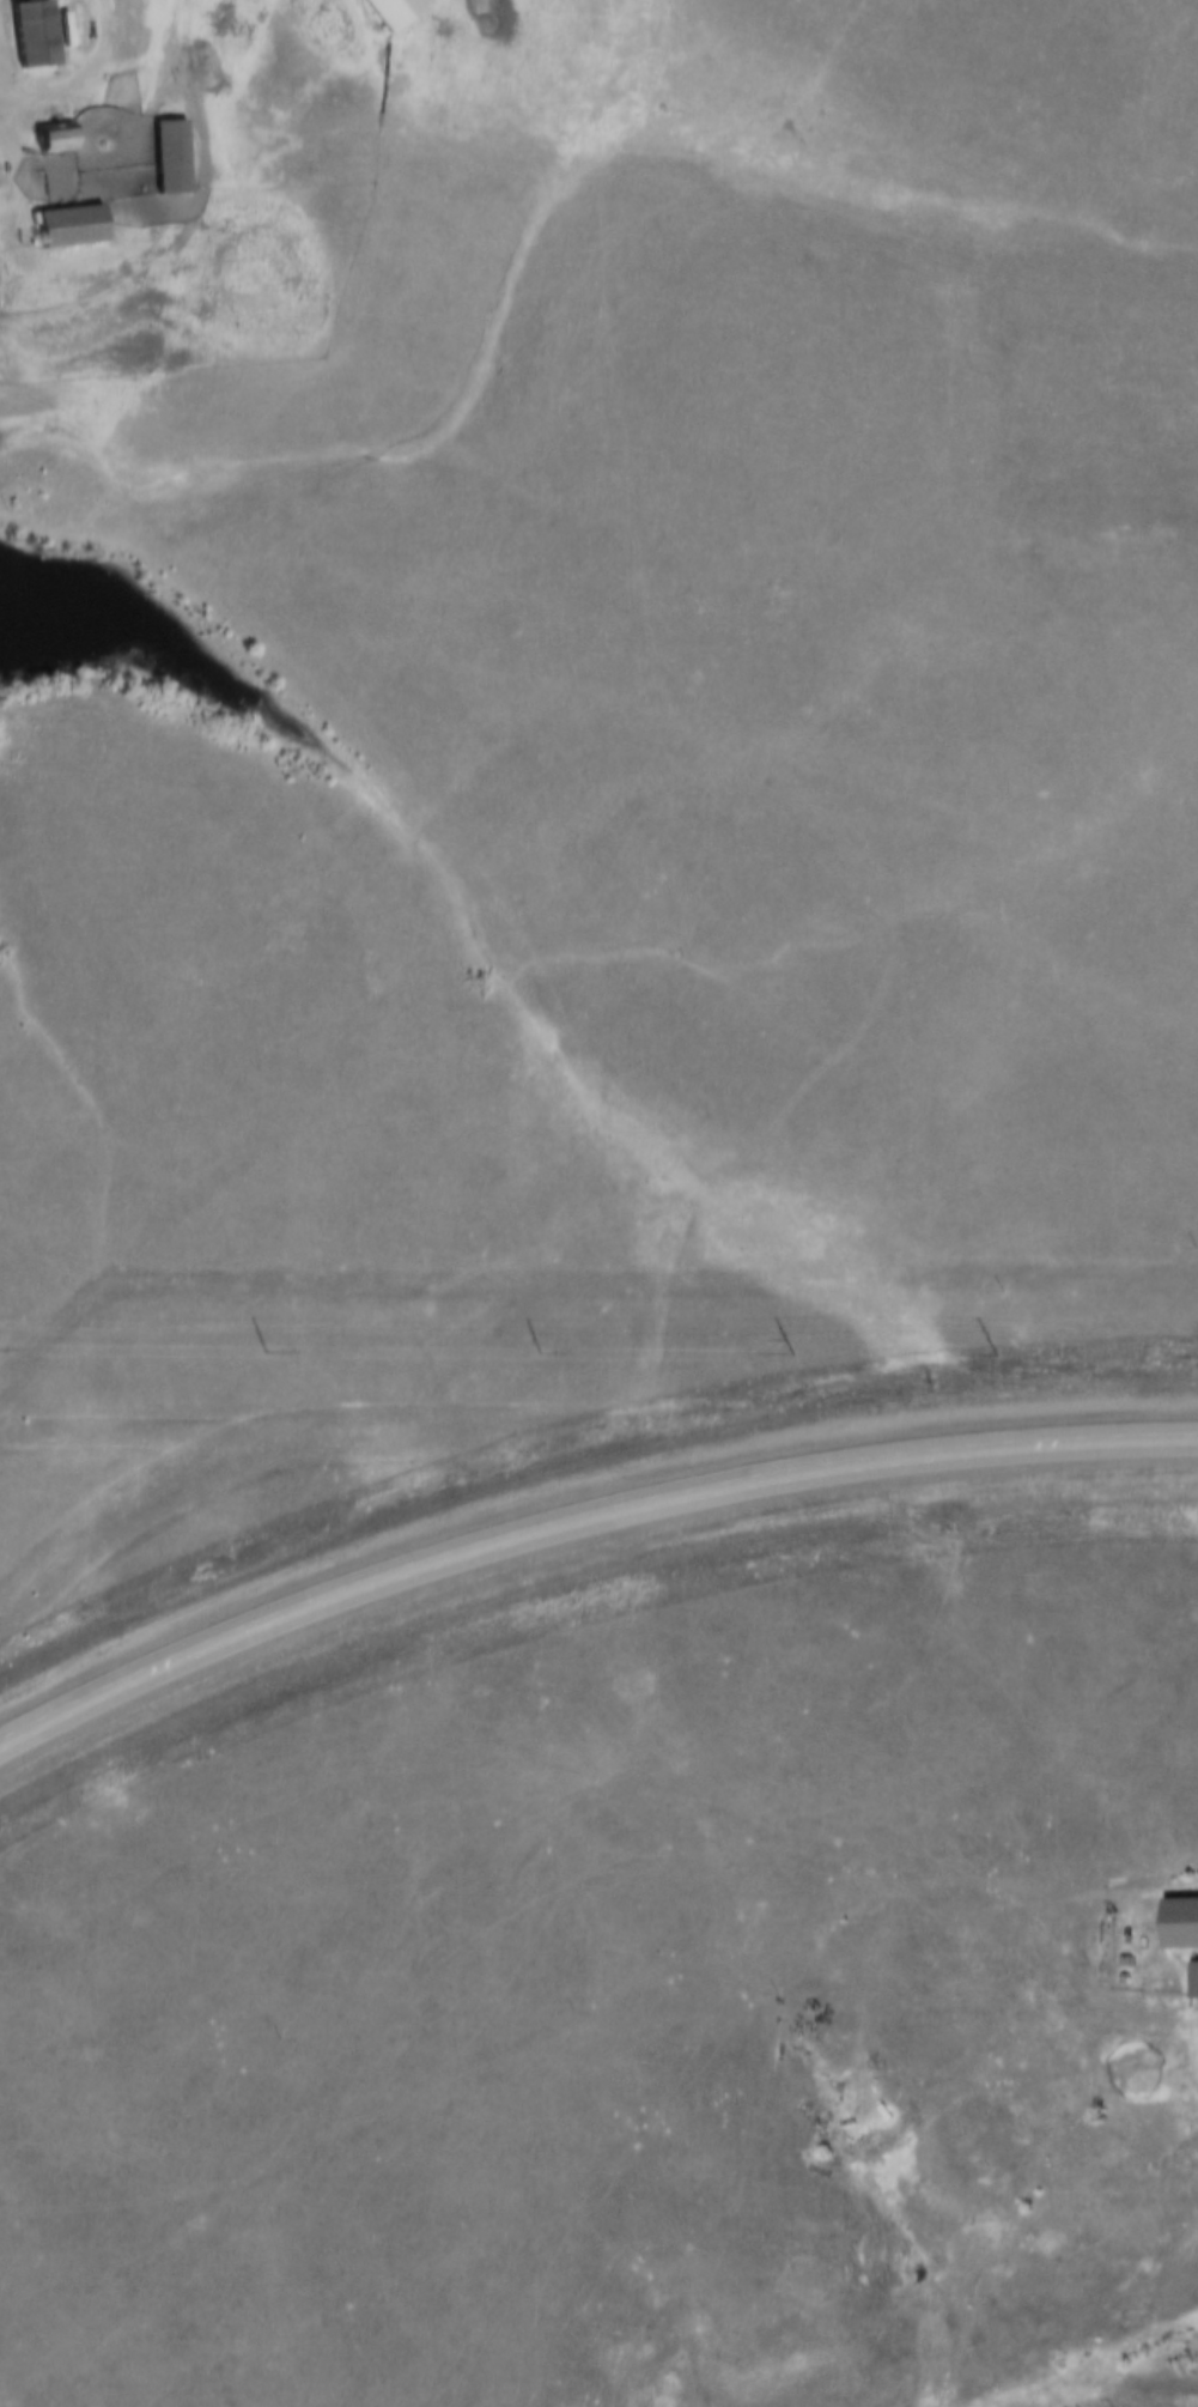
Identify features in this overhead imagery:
building: (34, 31)
building: (56, 137)
building: (171, 154)
road: (18, 177)
building: (71, 224)
road: (579, 1517)

